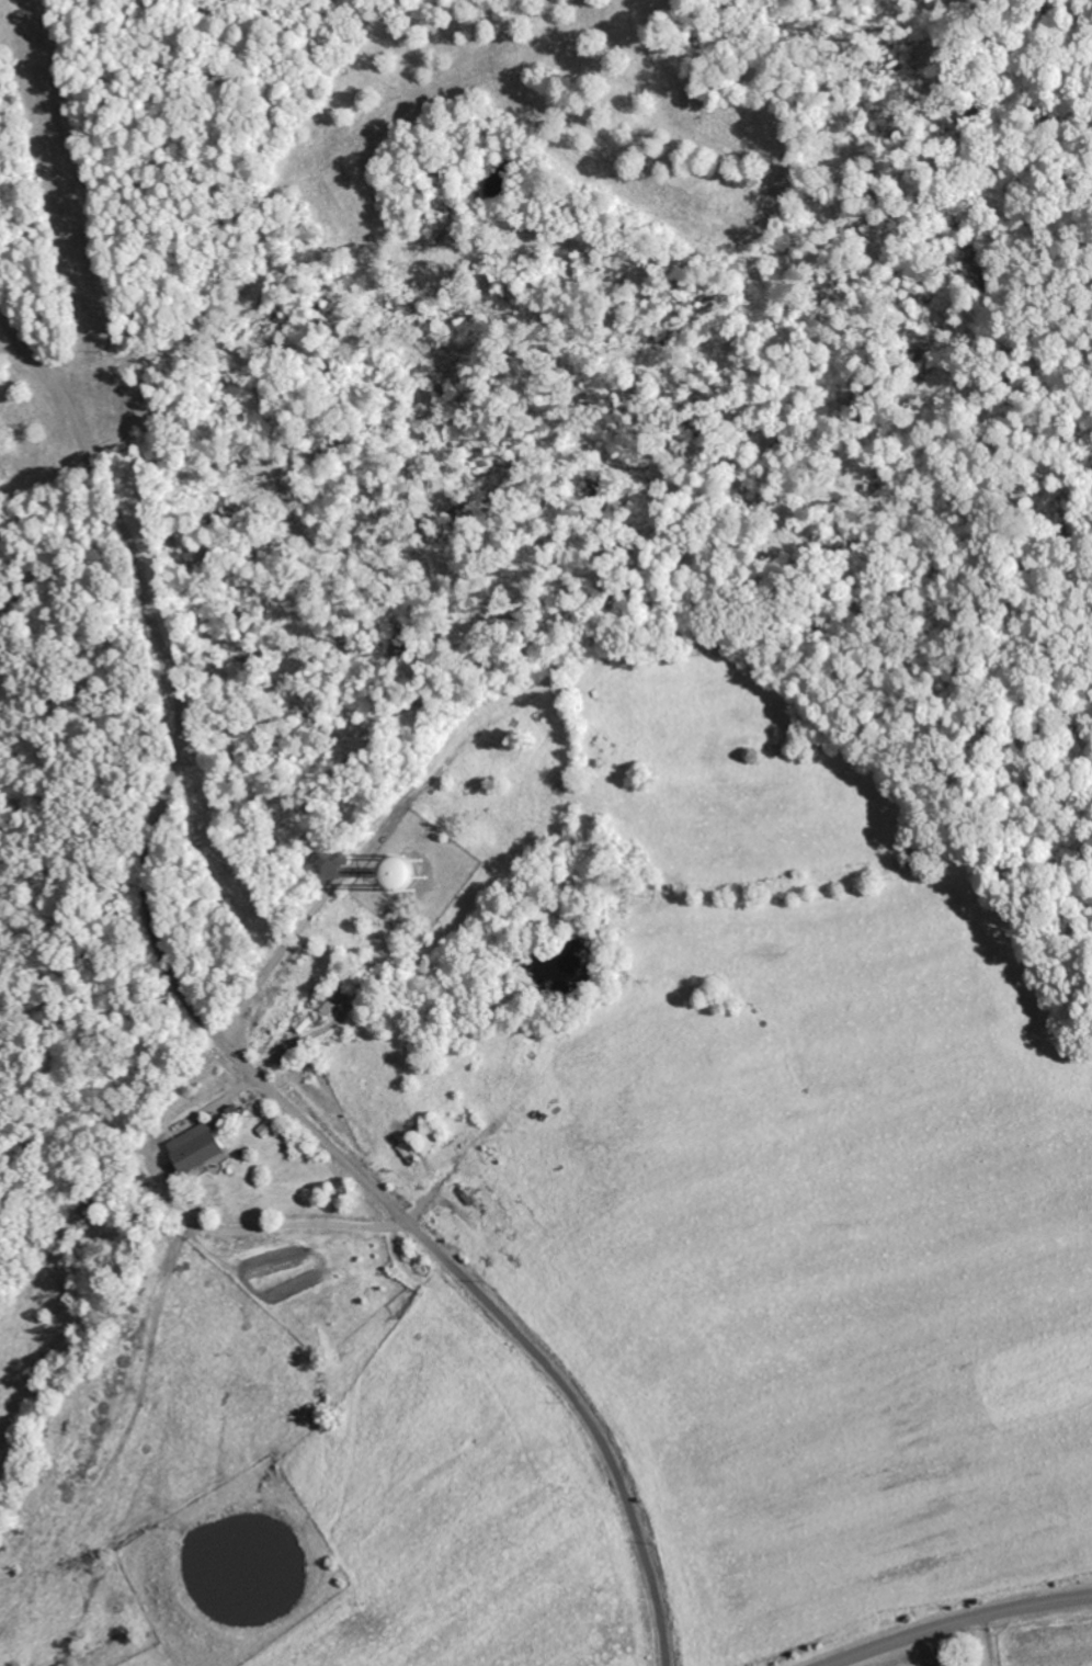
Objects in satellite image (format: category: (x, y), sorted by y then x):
building: (399, 882)
building: (268, 1127)
building: (195, 1148)
building: (409, 1153)
road: (430, 1245)
road: (959, 1623)

